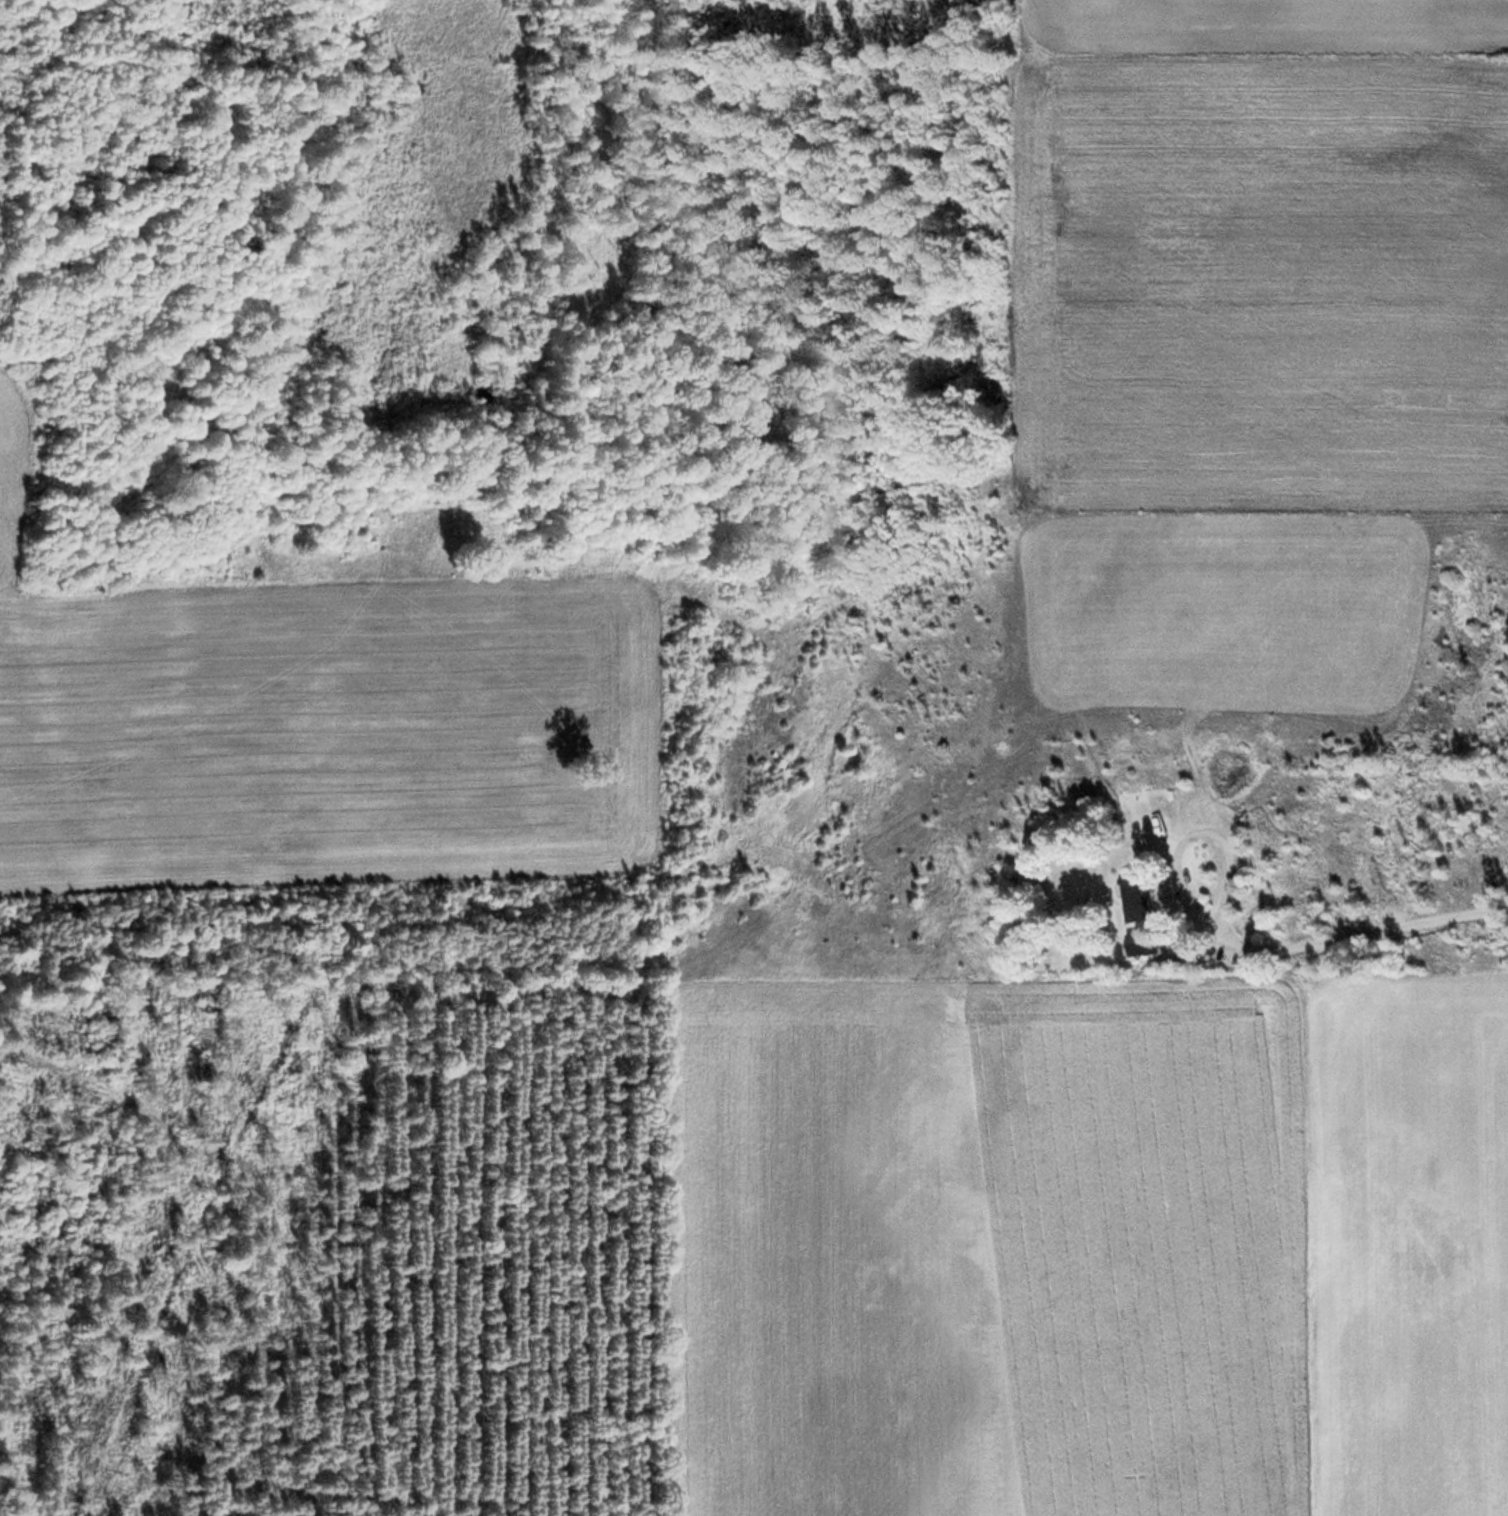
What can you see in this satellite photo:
building: (1149, 946)

